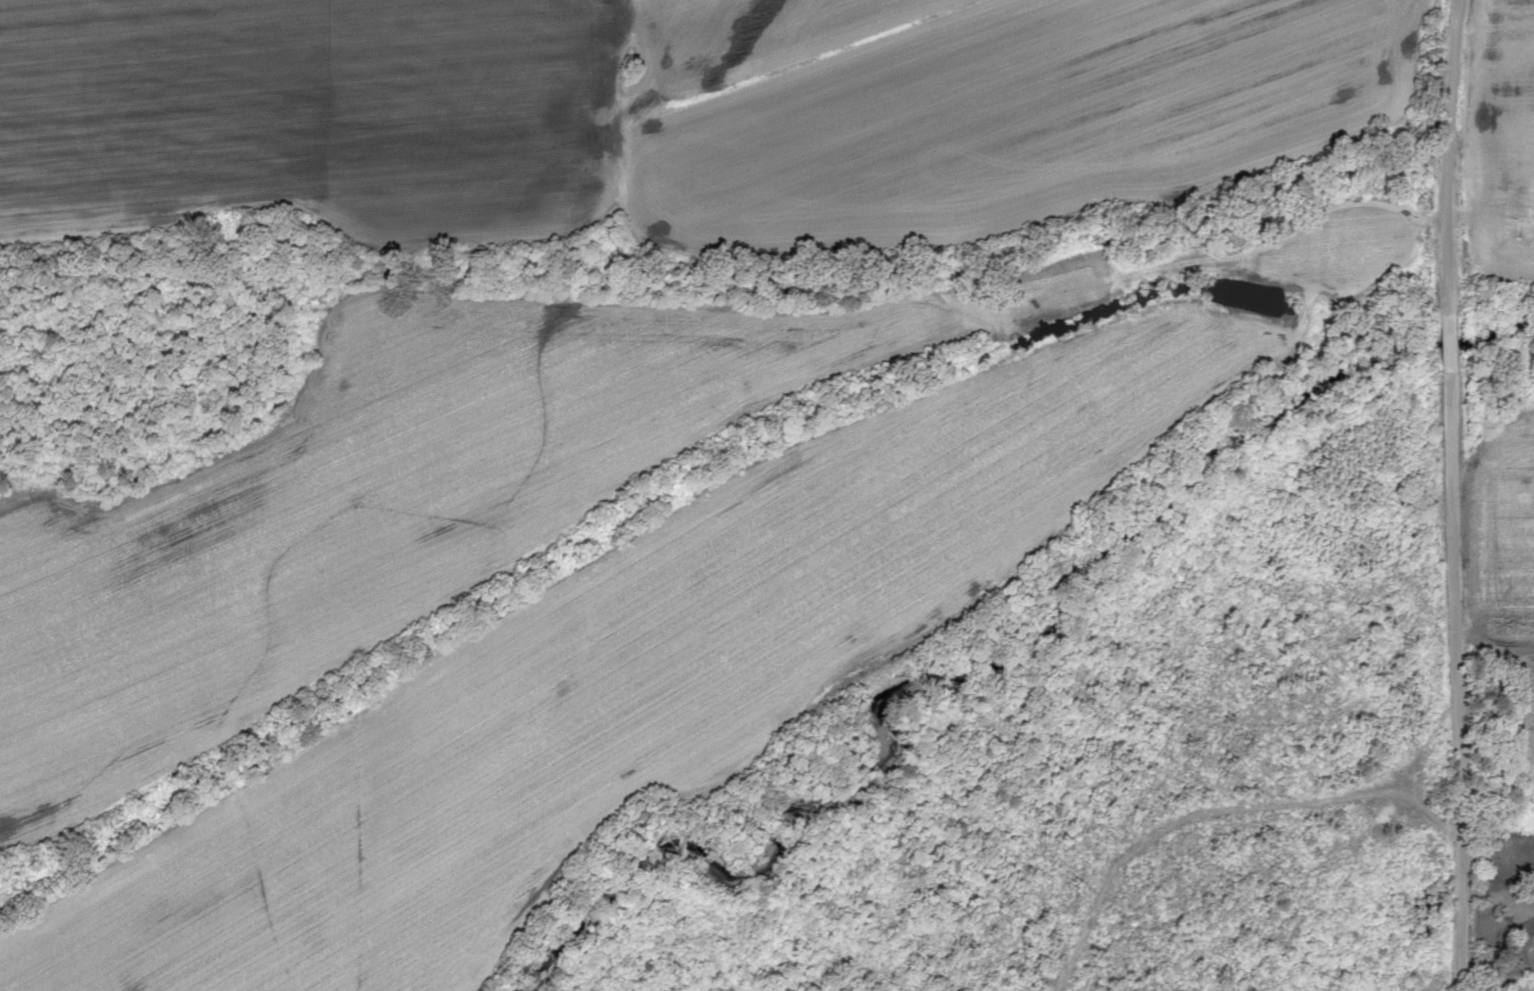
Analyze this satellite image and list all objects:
road: (1445, 158)
road: (1442, 349)
road: (1448, 686)

